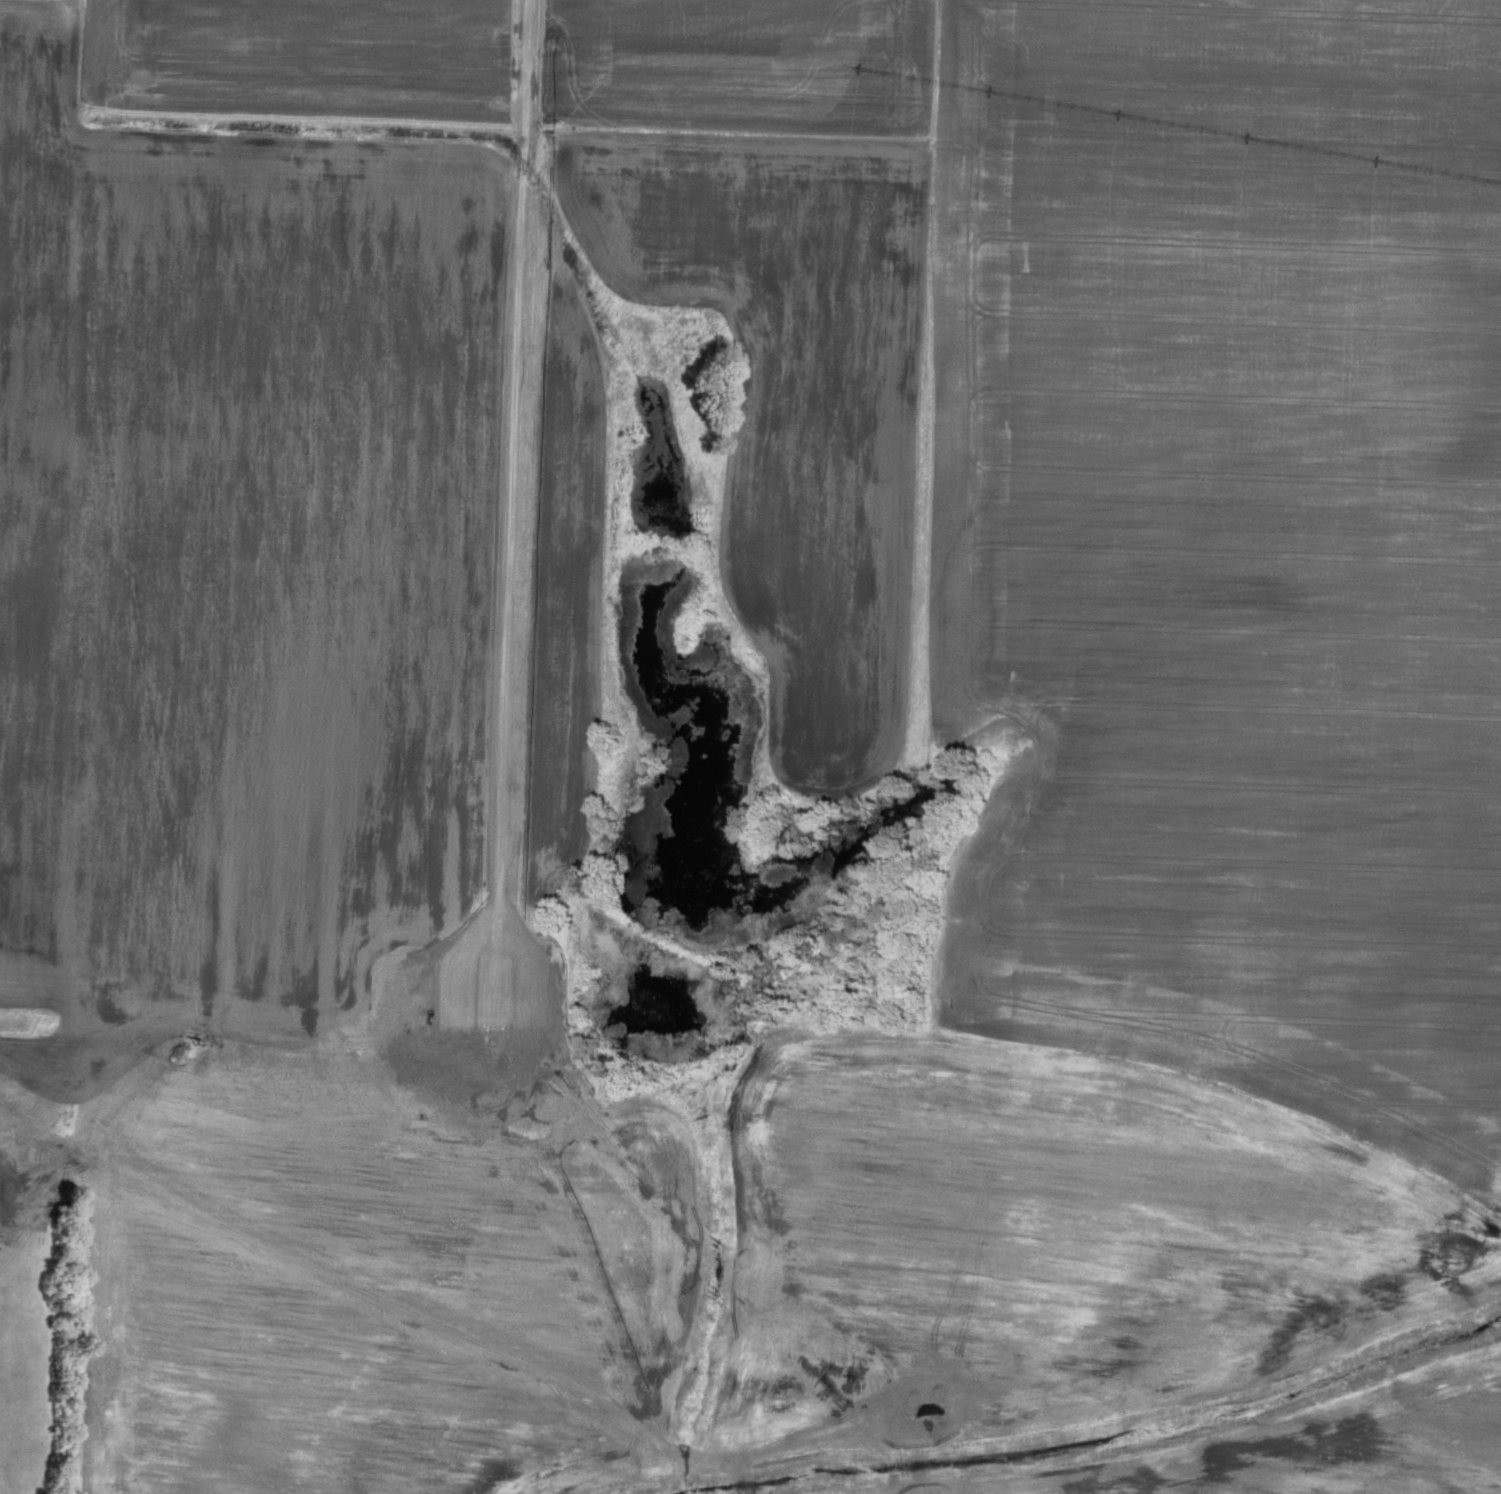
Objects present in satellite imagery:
wind turbine: (493, 1054)

